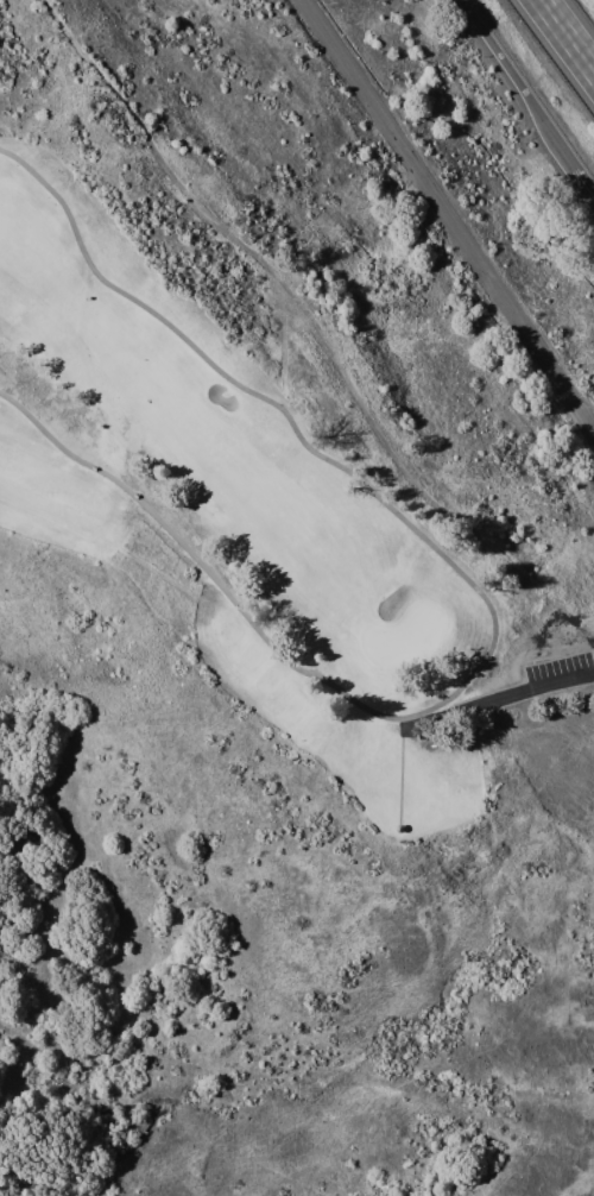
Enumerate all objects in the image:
road: (567, 36)
road: (514, 77)
road: (580, 174)
road: (449, 215)
park: (272, 549)
road: (492, 608)
park: (407, 635)
road: (516, 692)

